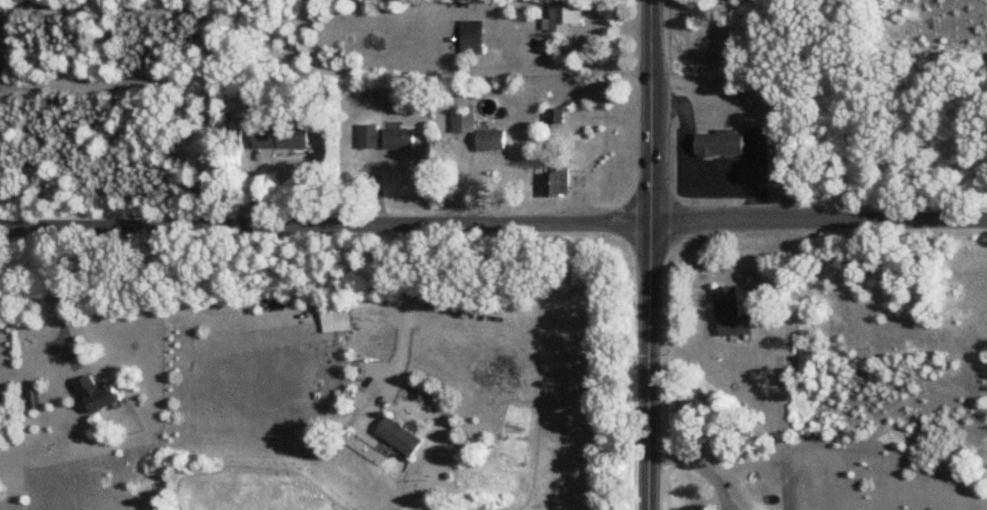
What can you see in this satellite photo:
building: (562, 19)
building: (471, 38)
building: (495, 57)
road: (593, 66)
building: (240, 103)
building: (463, 123)
building: (368, 137)
building: (280, 138)
building: (399, 140)
building: (490, 141)
building: (719, 144)
building: (556, 183)
road: (818, 219)
road: (325, 224)
road: (649, 254)
road: (58, 296)
road: (403, 310)
building: (730, 315)
building: (336, 316)
building: (97, 396)
building: (400, 437)
road: (699, 464)

